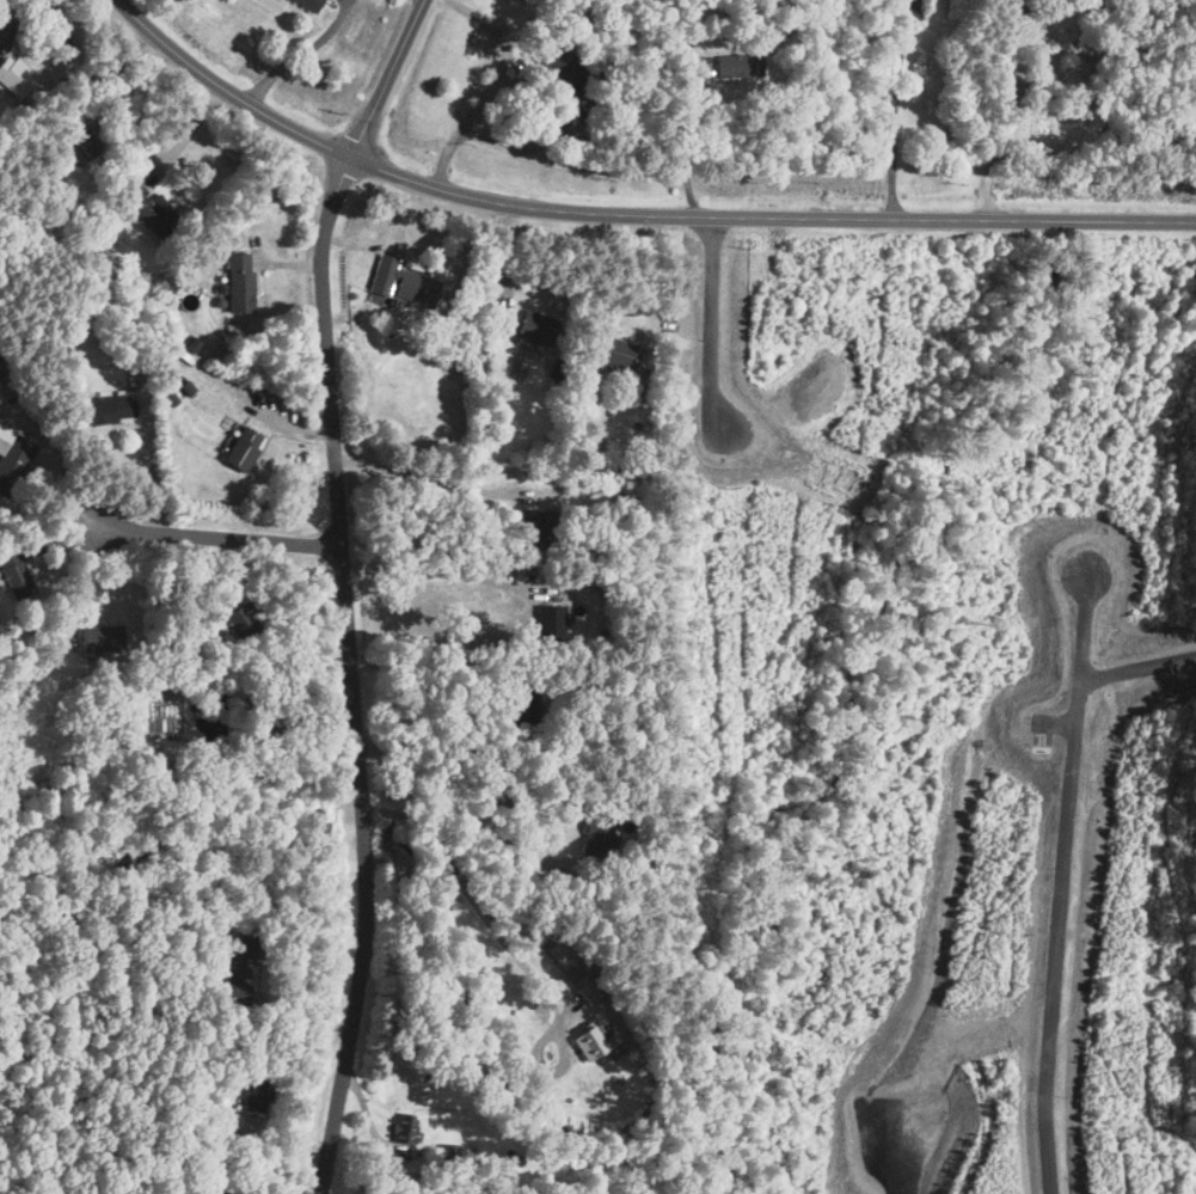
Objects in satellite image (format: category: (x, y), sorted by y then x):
building: (307, 4)
road: (299, 53)
building: (737, 65)
building: (14, 74)
road: (387, 79)
building: (570, 81)
road: (486, 87)
road: (891, 112)
road: (1012, 112)
road: (683, 142)
building: (82, 145)
building: (131, 190)
road: (627, 215)
building: (155, 216)
building: (238, 282)
building: (412, 287)
building: (533, 327)
building: (609, 351)
building: (105, 409)
building: (240, 448)
building: (11, 460)
road: (435, 482)
building: (527, 527)
road: (210, 538)
road: (436, 572)
building: (14, 576)
building: (239, 618)
building: (547, 620)
building: (99, 638)
road: (430, 659)
road: (1135, 661)
road: (355, 675)
building: (522, 703)
road: (464, 803)
building: (595, 834)
road: (1056, 882)
road: (467, 887)
building: (233, 969)
building: (587, 991)
building: (587, 1042)
building: (253, 1090)
building: (403, 1129)
building: (455, 1153)
building: (214, 1186)

